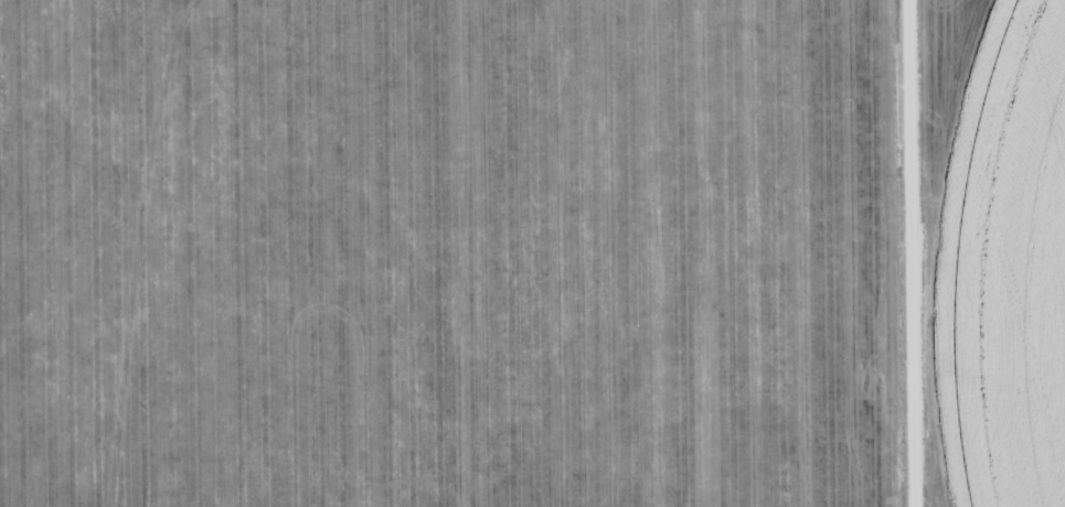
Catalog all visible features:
road: (916, 253)

